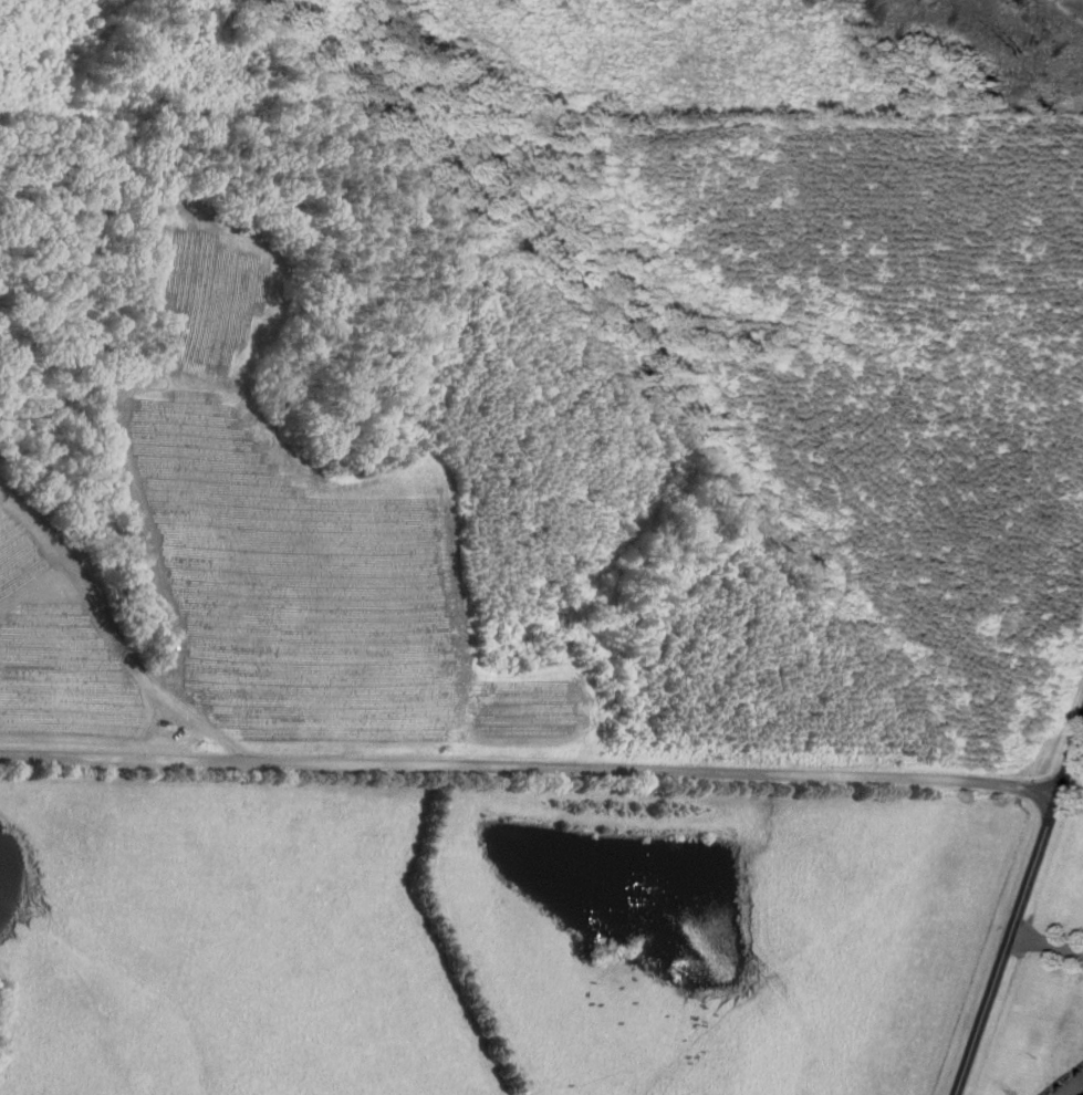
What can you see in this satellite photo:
road: (532, 766)
road: (1019, 914)

